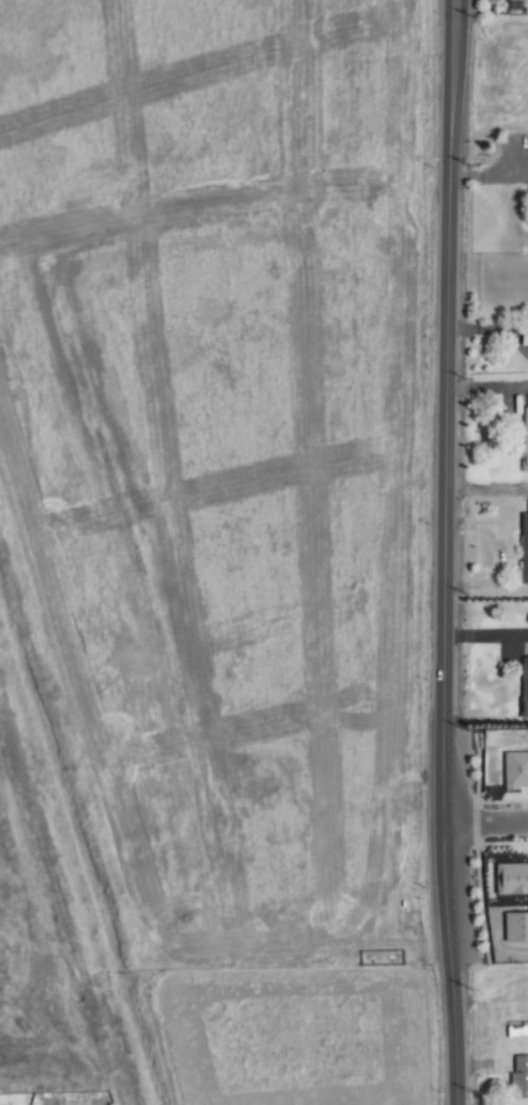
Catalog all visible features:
building: (511, 0)
building: (527, 331)
building: (524, 438)
road: (485, 491)
building: (524, 549)
road: (444, 552)
road: (485, 635)
building: (524, 687)
road: (484, 824)
building: (511, 878)
building: (519, 1078)

